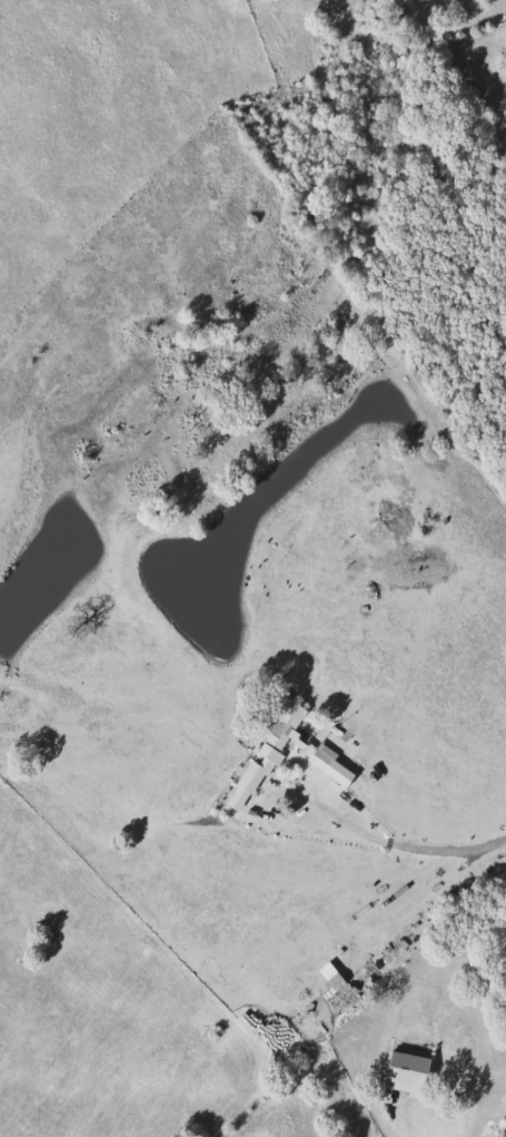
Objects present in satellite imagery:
building: (279, 726)
building: (317, 759)
road: (308, 821)
road: (420, 851)
road: (426, 904)
building: (403, 1072)
road: (485, 1113)
building: (504, 1118)
road: (396, 1123)

